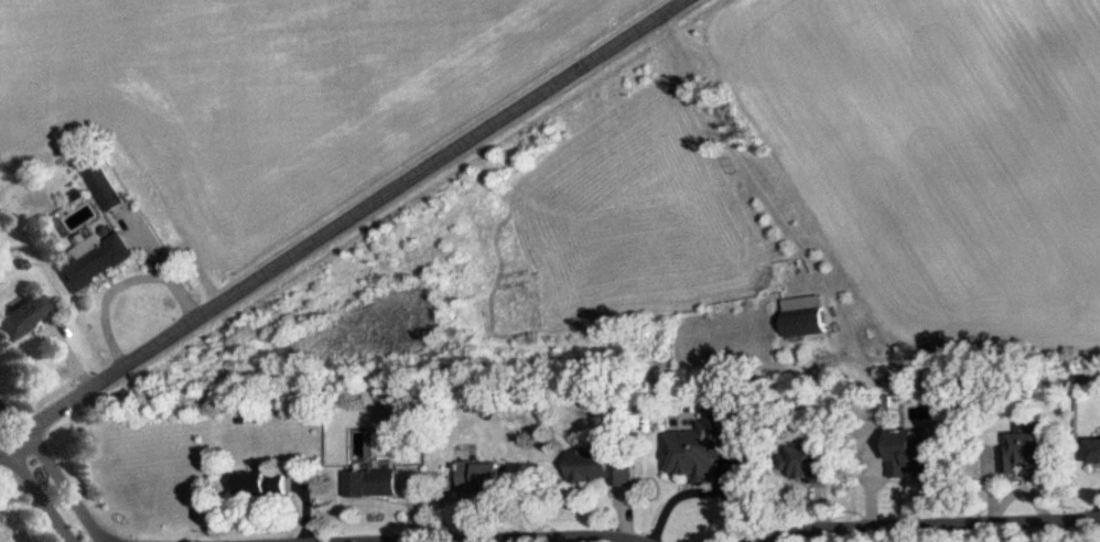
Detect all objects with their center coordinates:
building: (101, 183)
road: (341, 223)
building: (95, 261)
building: (804, 313)
building: (22, 316)
building: (699, 445)
building: (1026, 445)
building: (1094, 452)
building: (908, 453)
building: (800, 460)
building: (600, 465)
building: (481, 477)
building: (373, 483)
building: (261, 484)
road: (54, 488)
road: (694, 488)
road: (951, 534)

